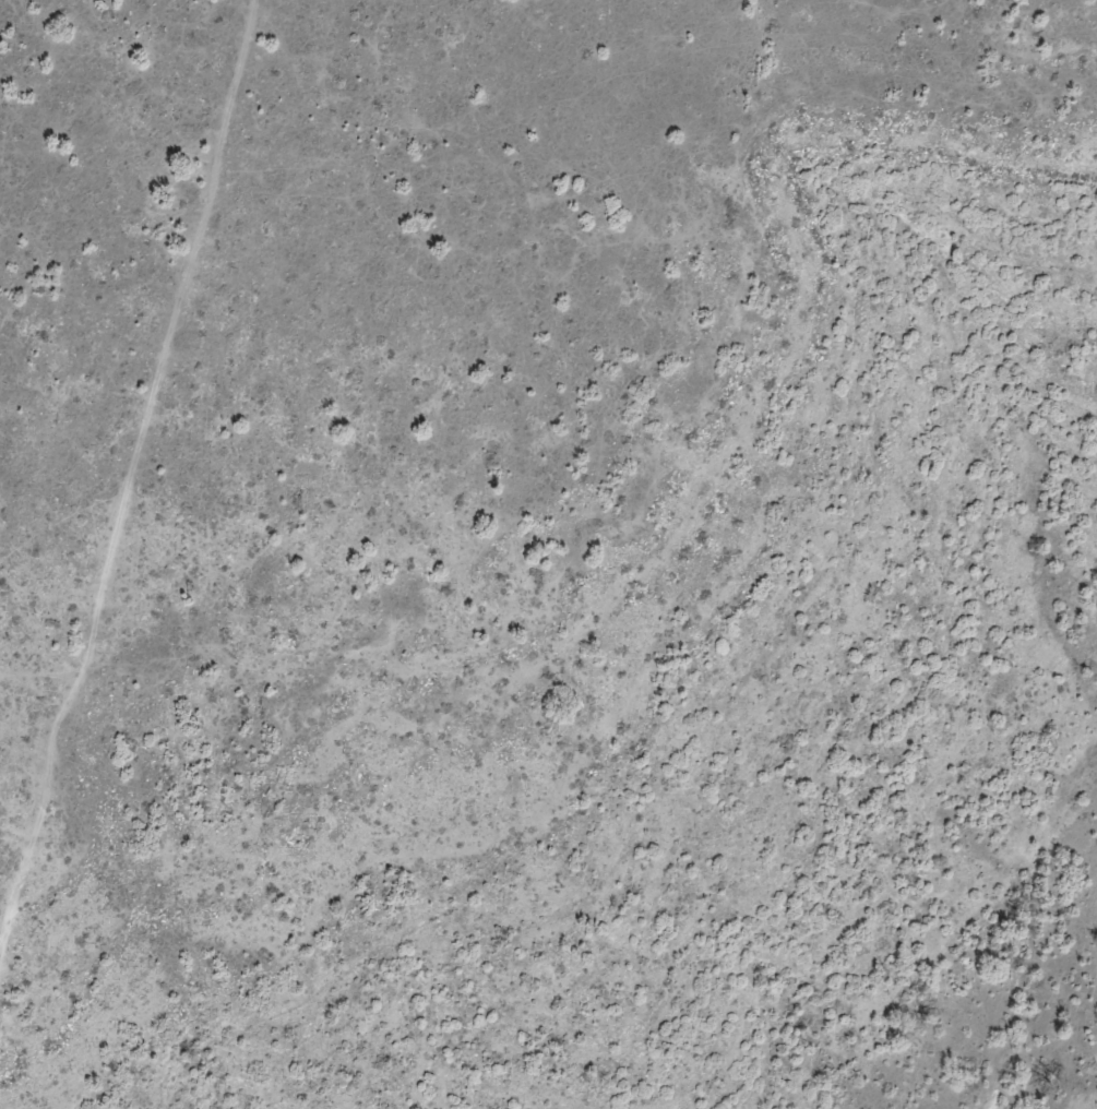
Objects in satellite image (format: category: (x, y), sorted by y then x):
road: (176, 554)

